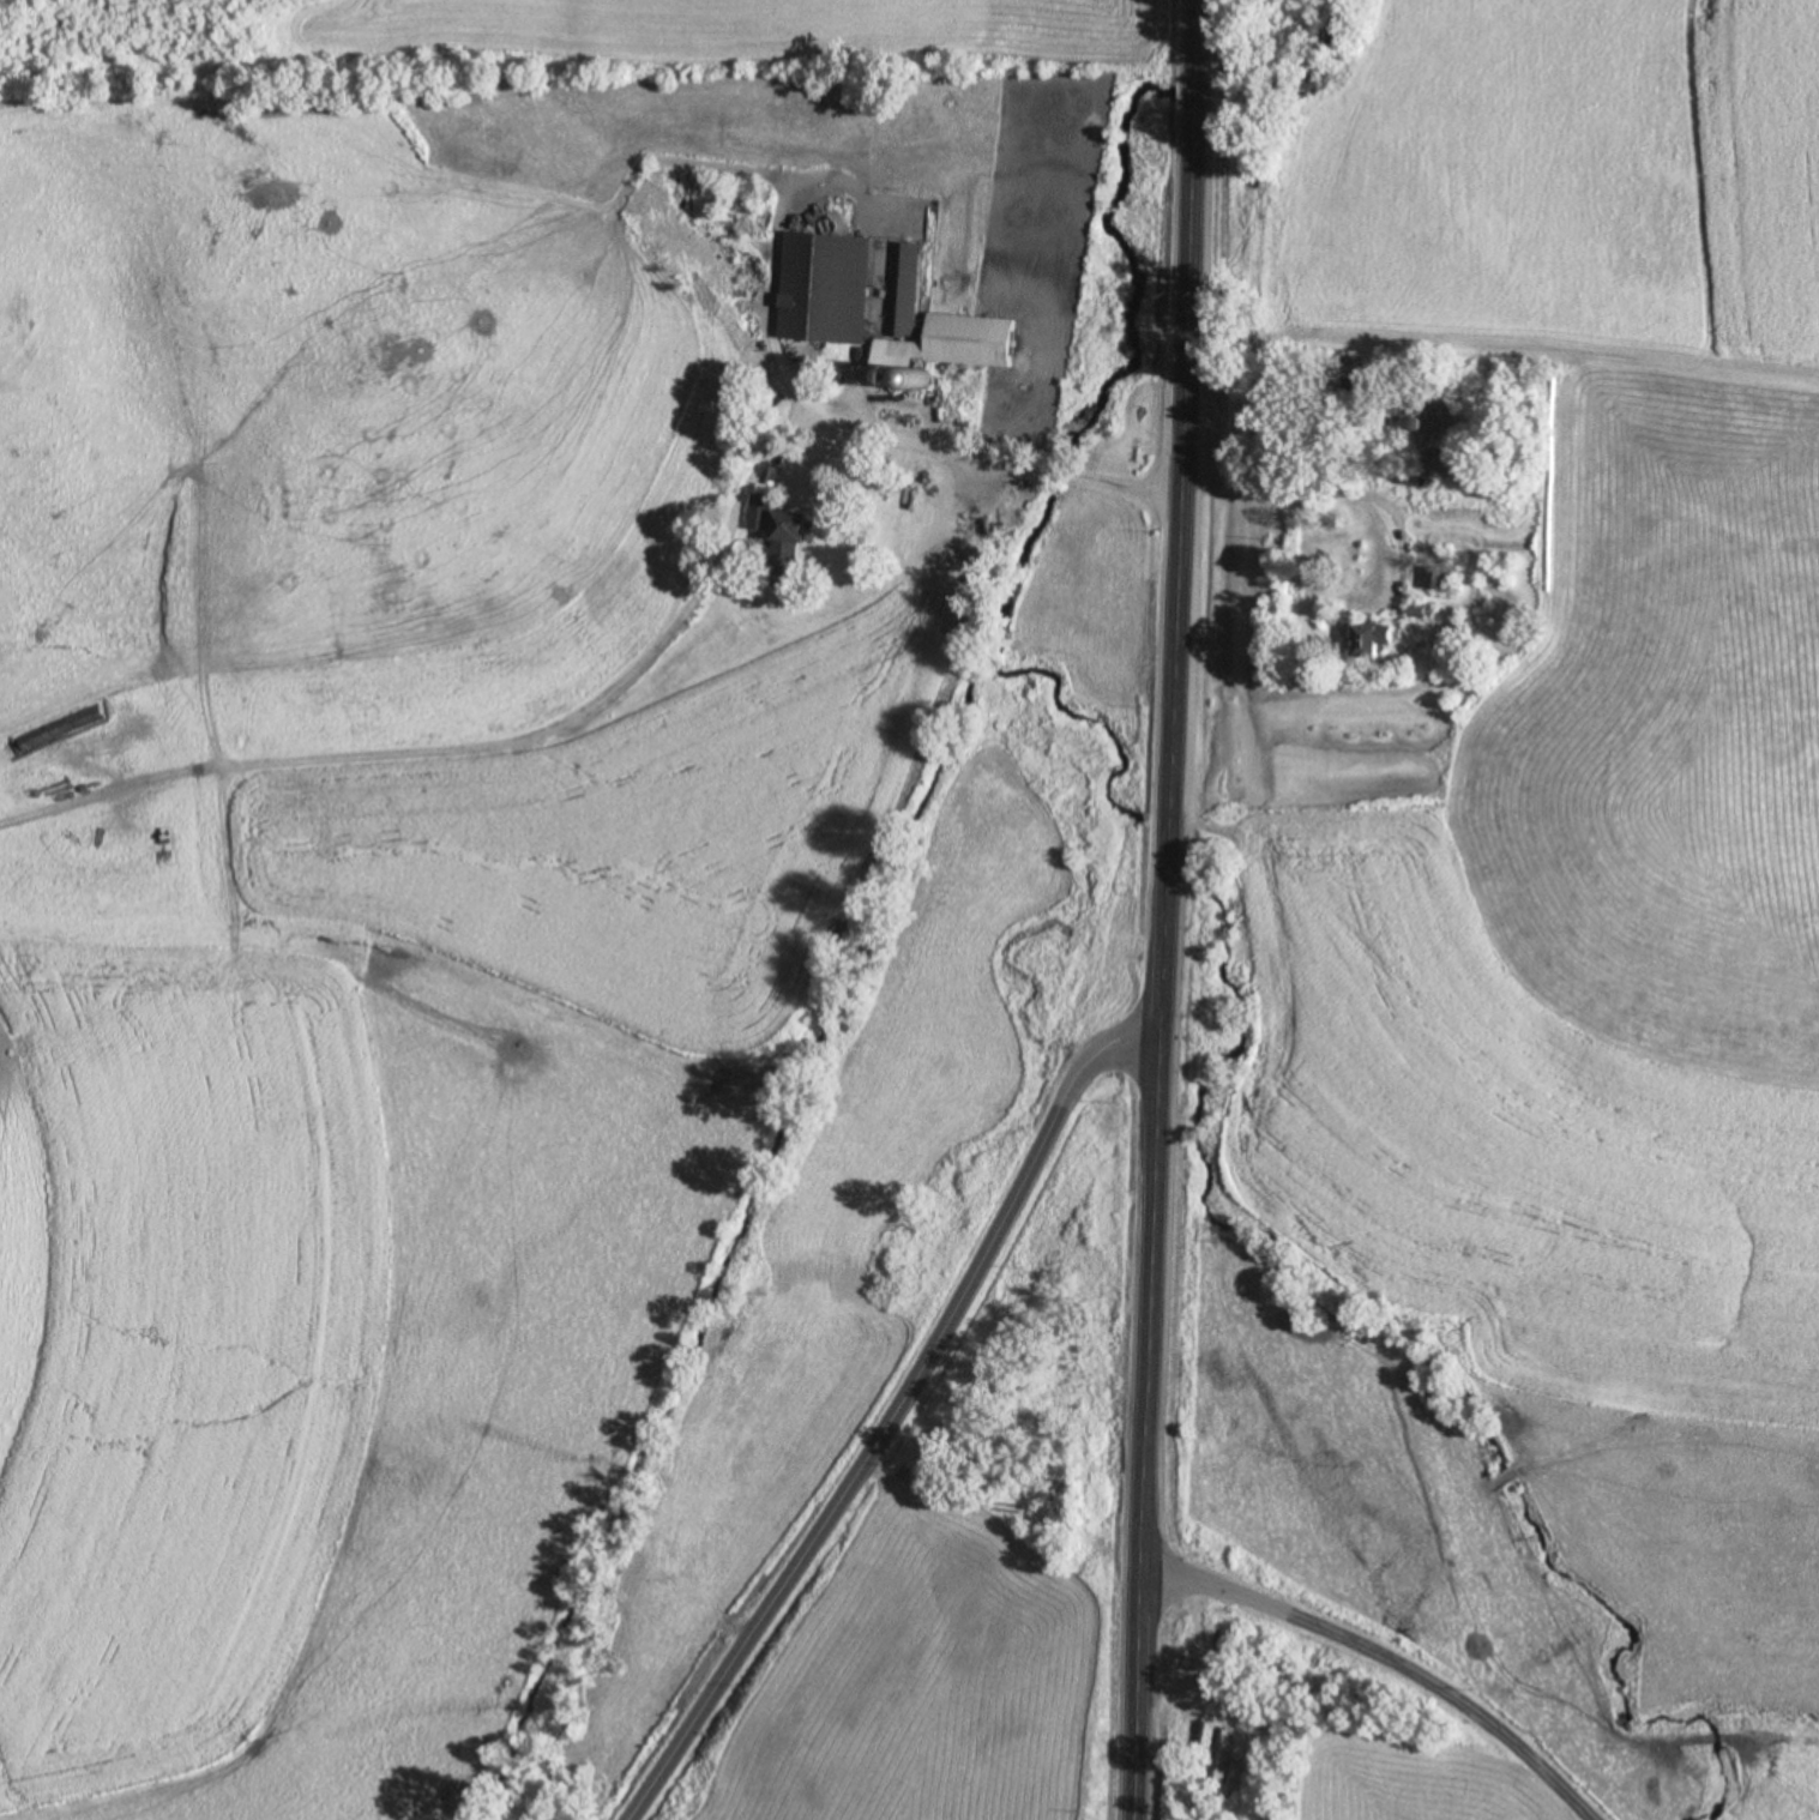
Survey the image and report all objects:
building: (1257, 222)
building: (824, 285)
building: (904, 289)
building: (947, 343)
road: (1502, 350)
building: (1436, 454)
road: (976, 457)
road: (1332, 484)
building: (758, 510)
road: (730, 512)
building: (788, 538)
building: (1438, 575)
building: (1369, 638)
road: (1161, 910)
road: (886, 1415)
road: (998, 1506)
road: (1378, 1658)

